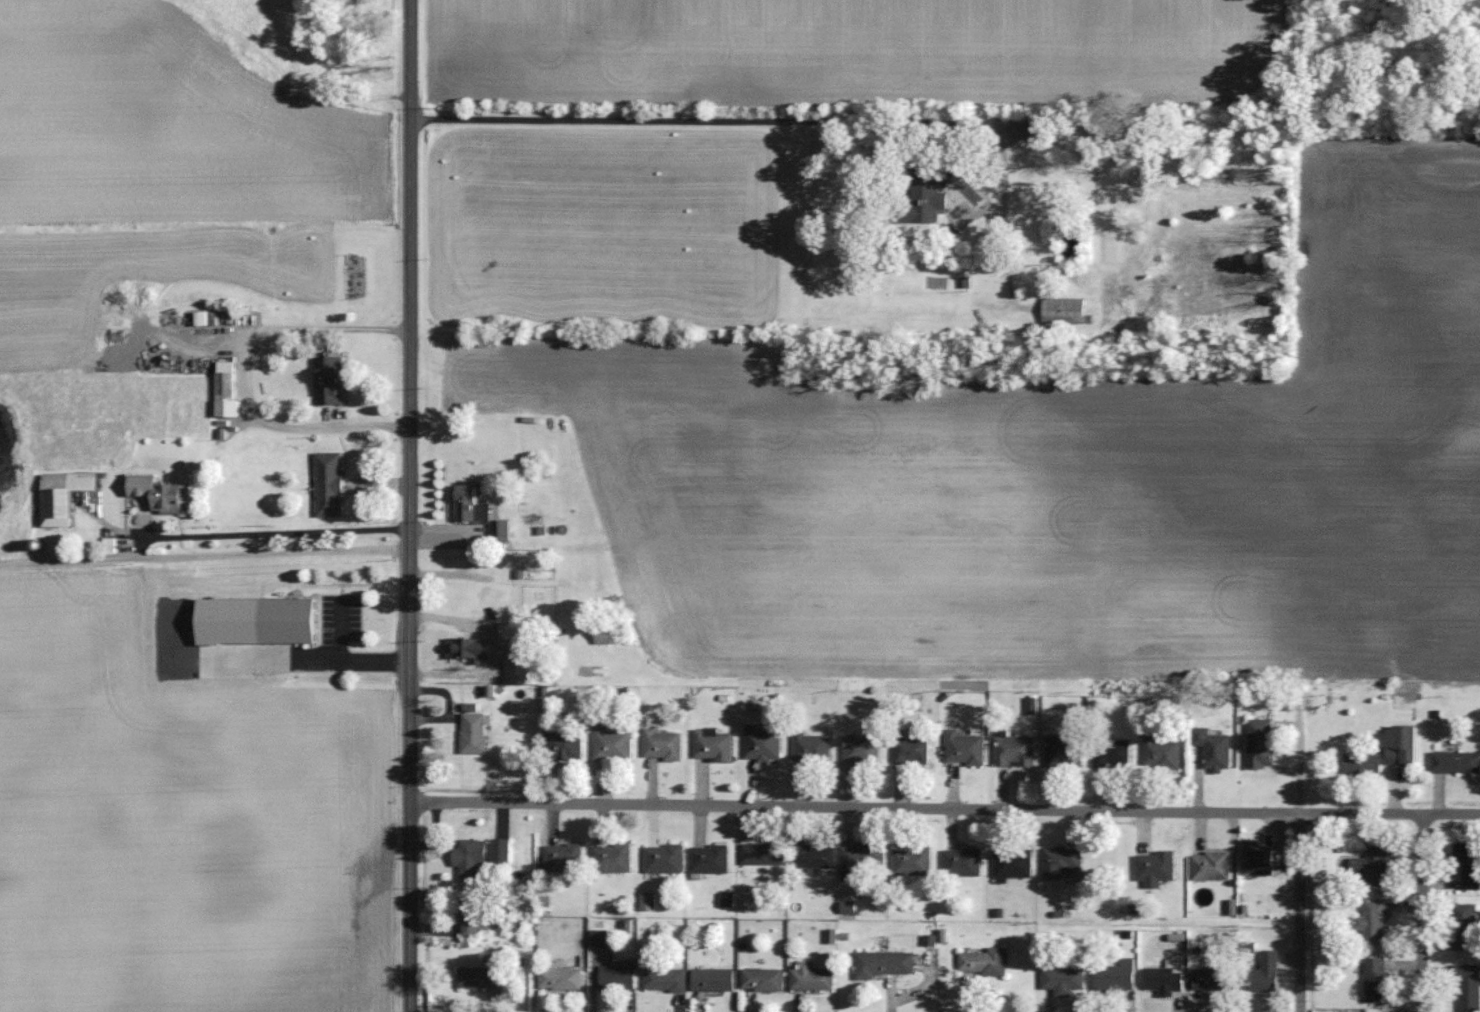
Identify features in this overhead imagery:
road: (668, 120)
building: (1027, 132)
building: (926, 193)
building: (1066, 310)
road: (243, 372)
building: (330, 381)
building: (227, 389)
building: (331, 481)
building: (160, 494)
building: (64, 497)
road: (410, 505)
building: (473, 506)
building: (503, 530)
road: (274, 531)
road: (204, 554)
building: (494, 594)
building: (290, 622)
building: (514, 633)
building: (467, 649)
road: (343, 666)
building: (476, 733)
building: (613, 742)
building: (764, 742)
building: (1262, 742)
building: (564, 744)
building: (665, 744)
building: (714, 744)
building: (814, 746)
building: (966, 748)
building: (1215, 748)
building: (863, 750)
building: (913, 750)
building: (1016, 751)
building: (1066, 751)
building: (1388, 751)
building: (1114, 752)
building: (1163, 752)
building: (1456, 761)
road: (945, 808)
building: (503, 849)
building: (764, 853)
building: (864, 853)
building: (816, 855)
building: (471, 857)
building: (565, 857)
building: (613, 858)
building: (666, 858)
building: (711, 858)
building: (1261, 858)
building: (913, 860)
building: (964, 861)
building: (1063, 861)
building: (1376, 862)
building: (1470, 862)
building: (1015, 863)
building: (1213, 864)
building: (1157, 867)
road: (1301, 912)
road: (1422, 912)
building: (474, 915)
building: (1375, 919)
building: (1465, 926)
building: (985, 961)
building: (887, 962)
building: (1268, 974)
building: (619, 976)
building: (1118, 976)
building: (1168, 976)
building: (480, 977)
building: (813, 977)
building: (562, 978)
building: (1216, 978)
building: (667, 979)
building: (715, 979)
building: (764, 979)
building: (1378, 979)
building: (1064, 980)
building: (1469, 986)

